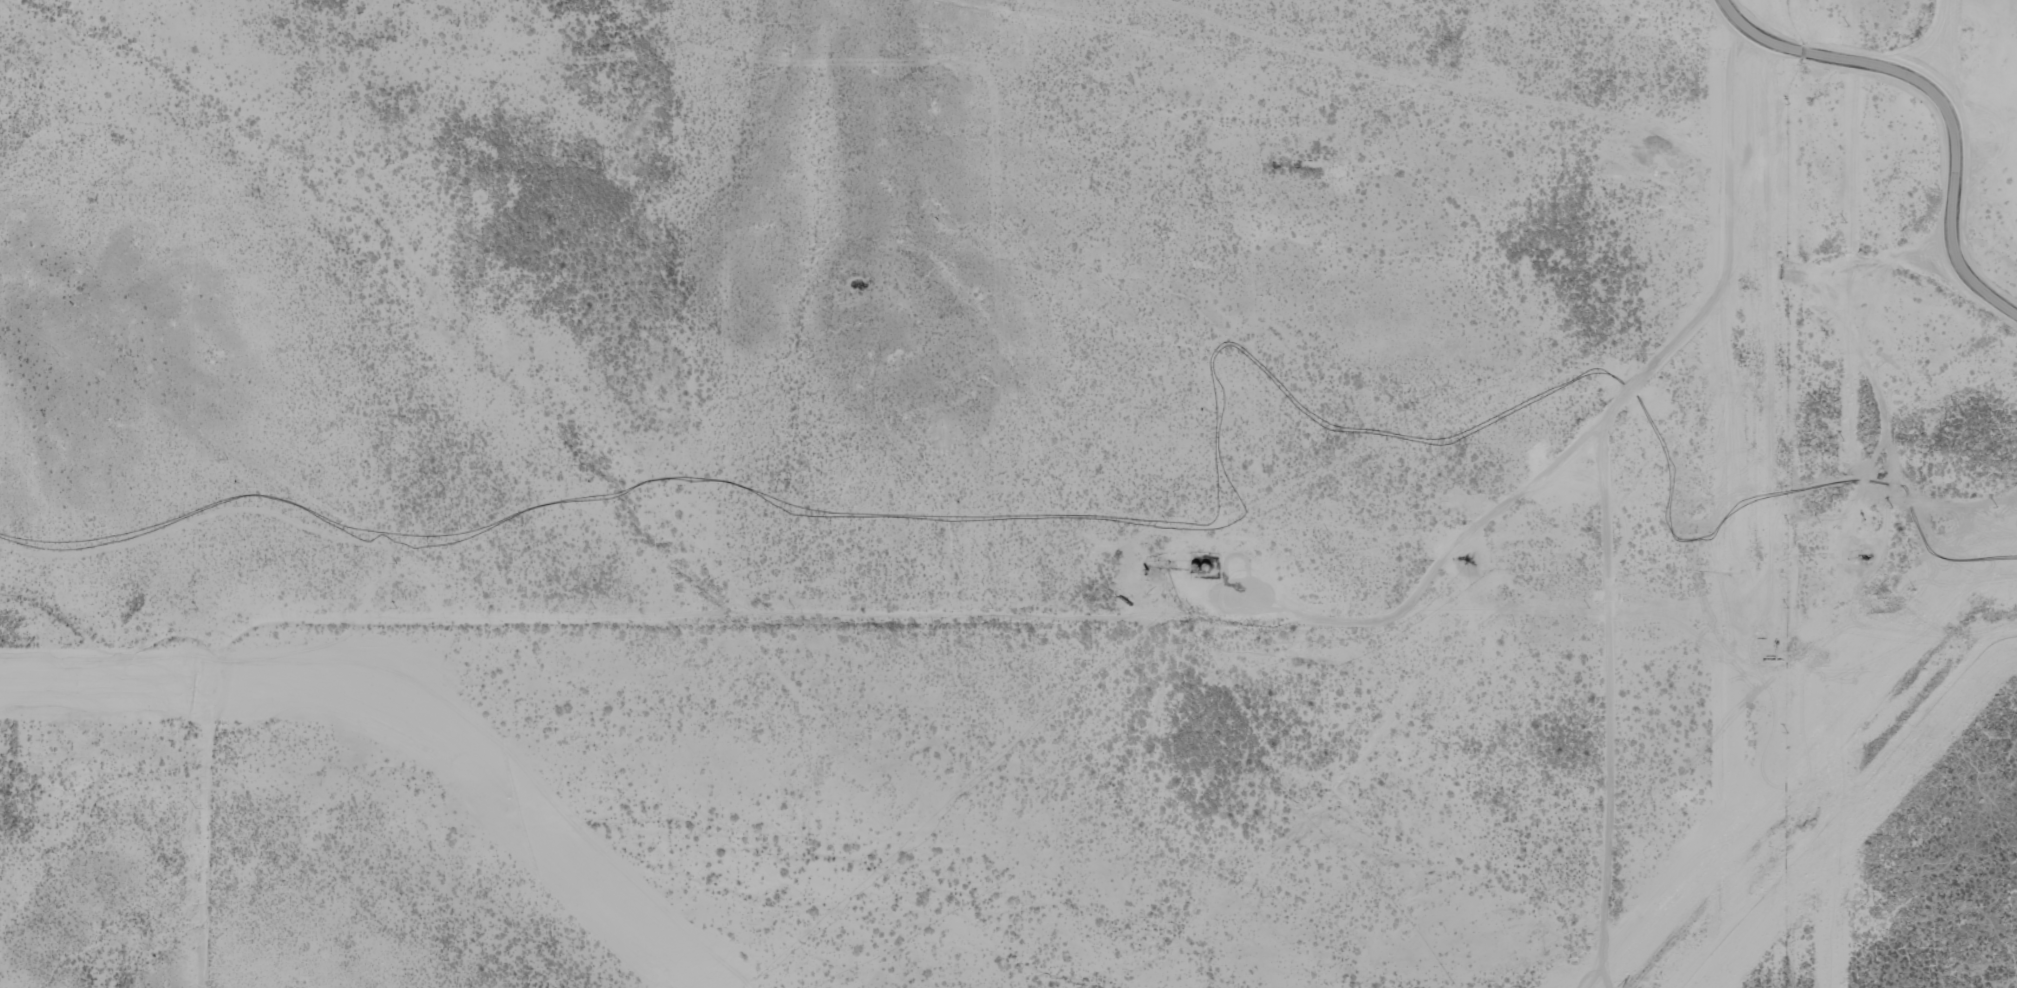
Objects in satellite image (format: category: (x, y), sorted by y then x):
road: (1659, 21)
road: (1788, 153)
road: (1747, 272)

